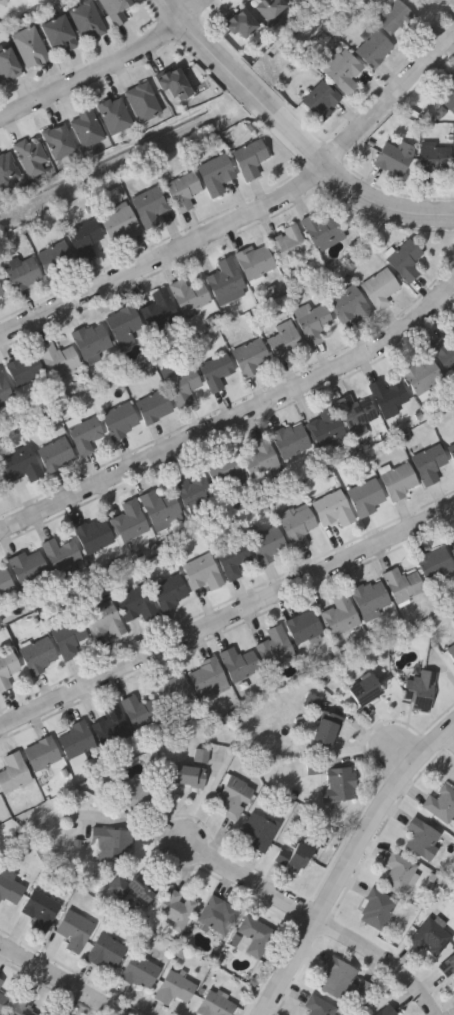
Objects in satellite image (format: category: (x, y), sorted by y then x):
building: (297, 0)
building: (3, 2)
building: (269, 8)
building: (115, 10)
park: (434, 11)
building: (393, 15)
building: (86, 22)
building: (241, 26)
building: (59, 34)
building: (373, 46)
building: (29, 47)
building: (7, 63)
road: (108, 69)
building: (343, 70)
building: (173, 84)
building: (449, 92)
building: (320, 99)
building: (141, 102)
building: (113, 115)
building: (86, 128)
road: (295, 134)
building: (58, 141)
building: (30, 155)
building: (393, 155)
building: (249, 157)
building: (435, 159)
building: (7, 169)
building: (215, 173)
building: (182, 189)
building: (149, 205)
road: (248, 218)
building: (119, 223)
building: (321, 229)
building: (84, 237)
building: (287, 242)
building: (55, 257)
building: (405, 258)
building: (255, 259)
building: (23, 271)
building: (224, 277)
building: (379, 286)
building: (1, 292)
building: (189, 294)
building: (349, 303)
building: (159, 309)
building: (312, 321)
building: (124, 324)
building: (92, 340)
building: (284, 340)
building: (443, 351)
building: (250, 356)
building: (58, 358)
building: (24, 368)
building: (216, 370)
building: (422, 374)
building: (182, 385)
building: (4, 389)
building: (387, 393)
building: (153, 405)
building: (355, 410)
building: (119, 419)
road: (233, 421)
building: (325, 424)
building: (84, 434)
building: (290, 438)
building: (451, 450)
building: (55, 453)
building: (260, 456)
building: (21, 463)
building: (431, 464)
building: (223, 466)
building: (399, 479)
building: (2, 486)
building: (192, 489)
building: (366, 496)
building: (332, 507)
building: (160, 508)
building: (129, 520)
building: (297, 524)
building: (93, 534)
building: (266, 542)
building: (453, 550)
building: (60, 552)
building: (233, 557)
building: (435, 563)
building: (28, 565)
building: (201, 571)
building: (4, 581)
building: (402, 583)
building: (169, 590)
building: (370, 596)
building: (136, 603)
building: (340, 614)
road: (226, 615)
building: (102, 616)
building: (304, 629)
building: (68, 637)
building: (274, 646)
building: (451, 650)
building: (38, 653)
building: (239, 663)
building: (7, 667)
building: (207, 676)
building: (173, 689)
building: (364, 689)
building: (419, 690)
building: (314, 700)
building: (141, 712)
building: (111, 725)
building: (326, 727)
road: (452, 735)
building: (75, 738)
building: (41, 752)
building: (202, 756)
building: (13, 770)
building: (188, 775)
building: (339, 783)
building: (131, 788)
building: (232, 796)
building: (441, 801)
building: (259, 830)
building: (423, 837)
building: (111, 842)
building: (293, 851)
road: (350, 865)
building: (401, 871)
road: (253, 882)
building: (131, 887)
building: (9, 888)
building: (377, 906)
building: (176, 907)
building: (40, 909)
building: (216, 914)
building: (74, 929)
building: (254, 933)
building: (431, 935)
building: (107, 947)
road: (384, 960)
building: (447, 967)
building: (140, 970)
building: (337, 976)
building: (0, 979)
road: (62, 979)
building: (364, 986)
building: (174, 987)
building: (2, 999)
building: (215, 1003)
building: (22, 1005)
building: (320, 1005)
building: (386, 1010)

